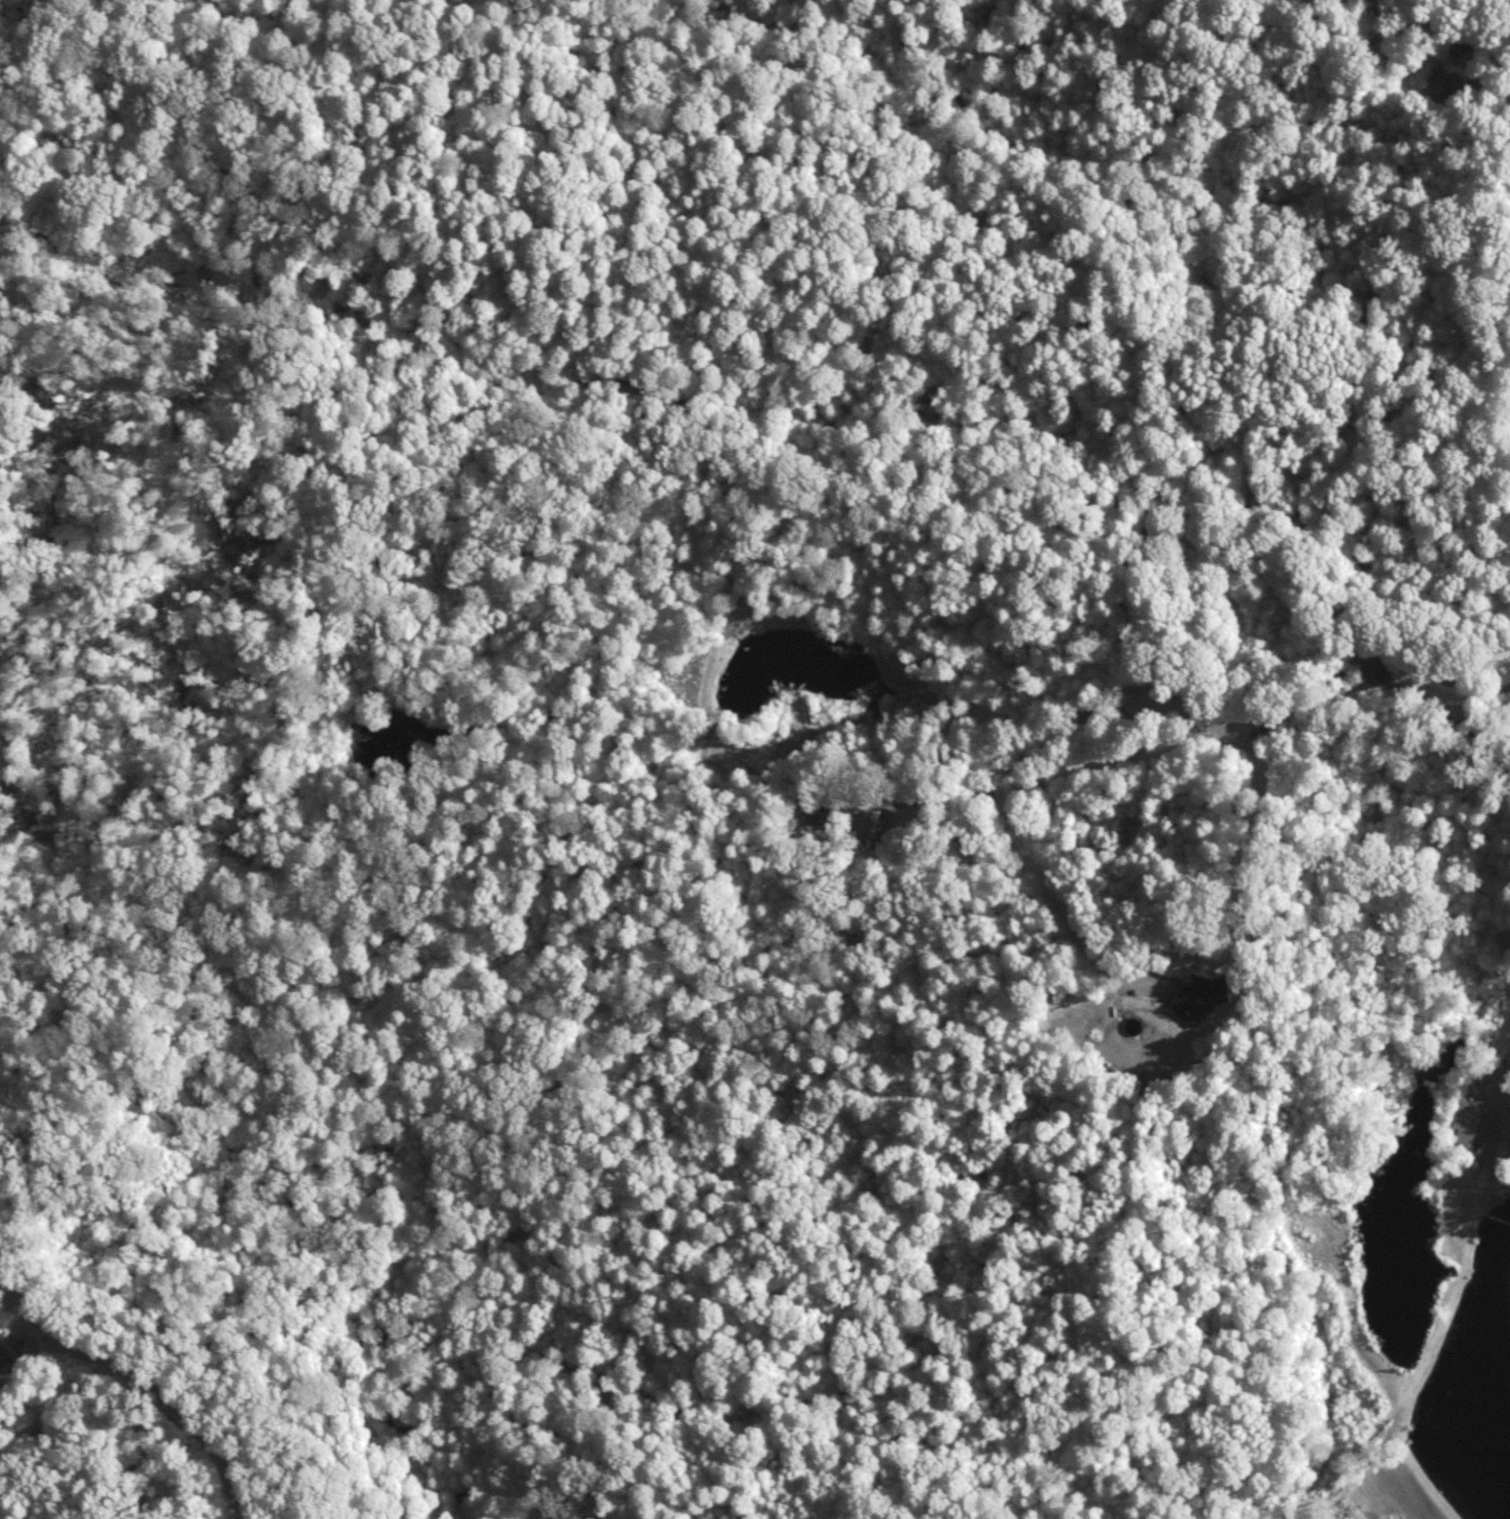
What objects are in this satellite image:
road: (1490, 80)
road: (1380, 660)
road: (1437, 710)
road: (1067, 720)
building: (871, 823)
road: (1249, 838)
building: (1199, 996)
building: (1466, 1120)
building: (1502, 1147)
road: (134, 1385)

